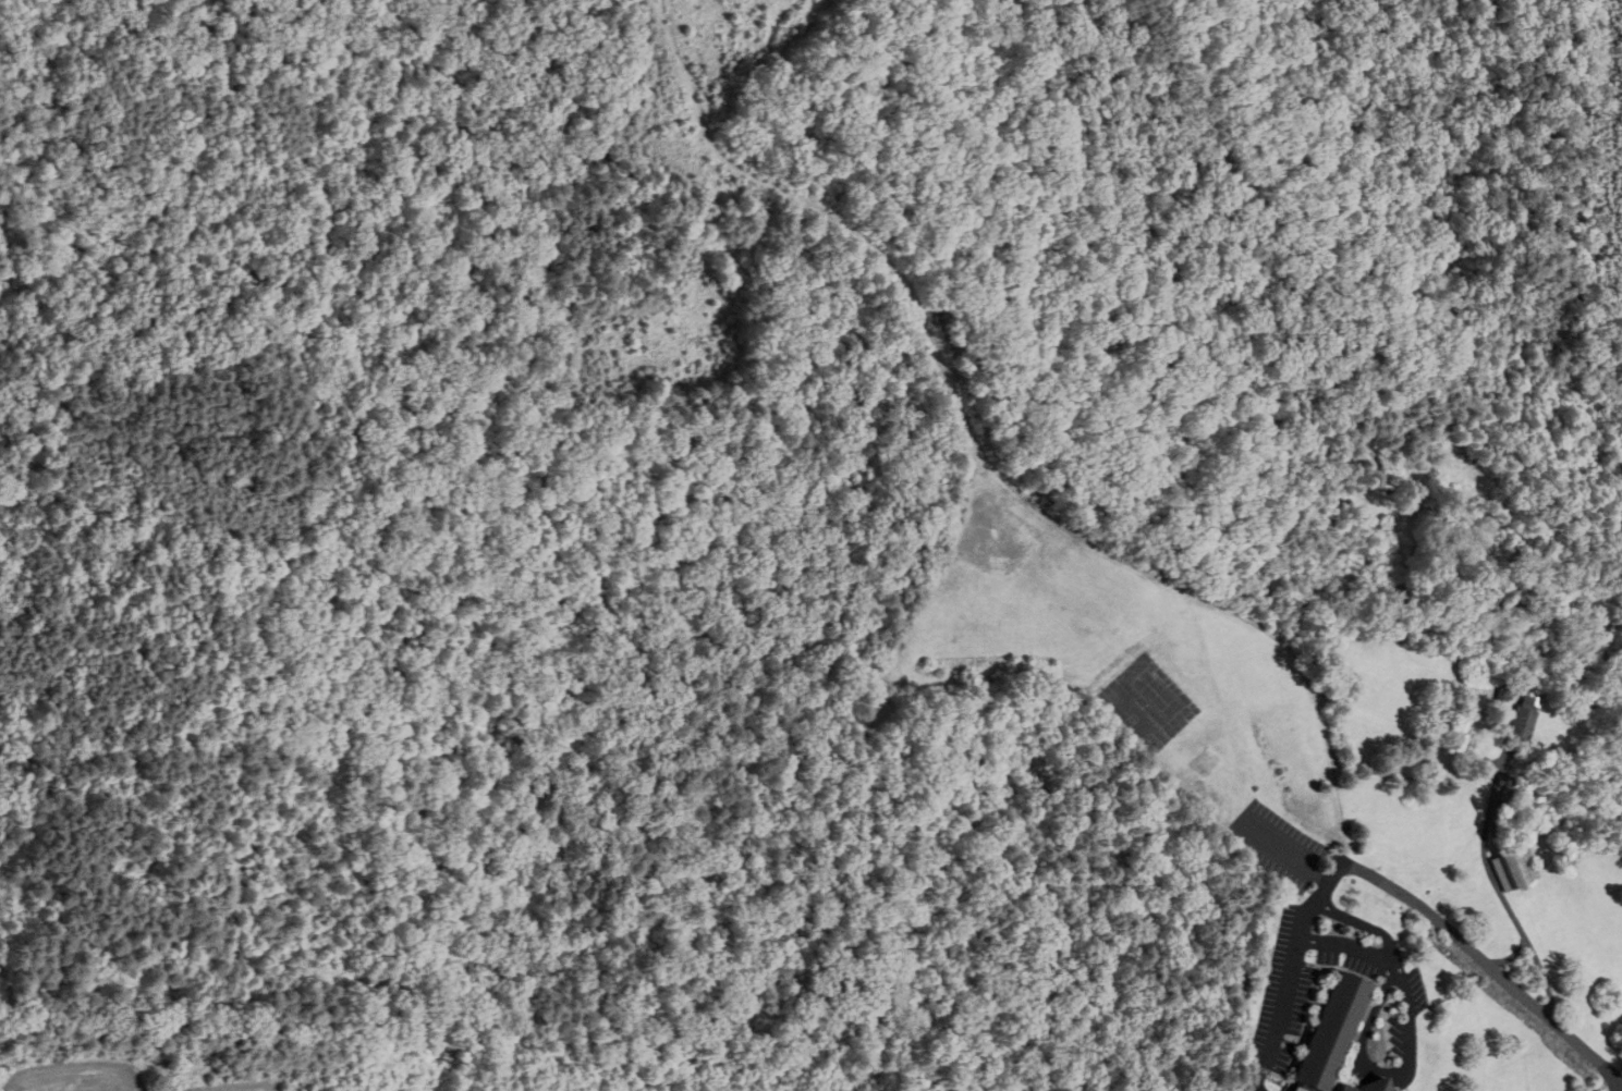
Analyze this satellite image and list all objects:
building: (1519, 716)
building: (1511, 867)
road: (1502, 897)
road: (1511, 955)
road: (1483, 959)
road: (1291, 971)
building: (1322, 1032)
building: (1358, 1086)

